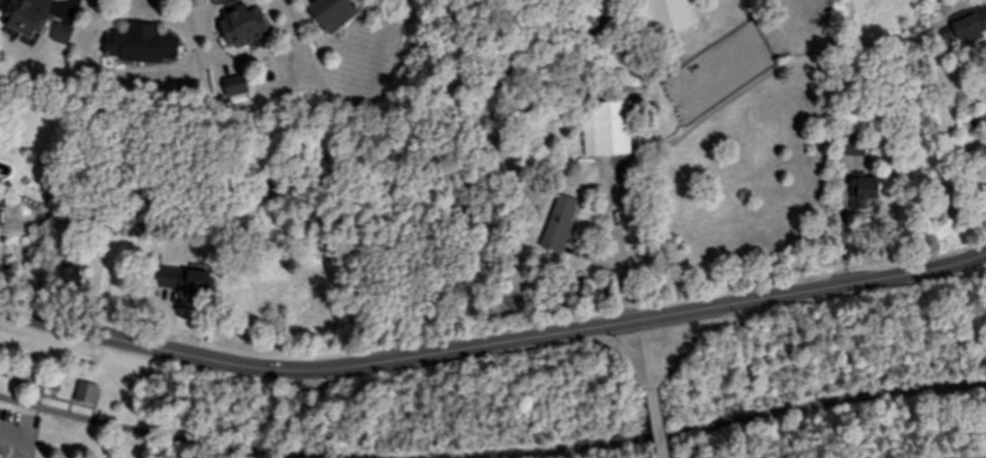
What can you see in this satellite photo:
building: (333, 14)
building: (667, 16)
building: (29, 17)
building: (966, 25)
building: (243, 26)
building: (62, 34)
building: (143, 45)
building: (236, 86)
building: (607, 129)
building: (864, 192)
building: (560, 225)
road: (973, 263)
road: (973, 271)
building: (70, 276)
building: (185, 282)
road: (478, 350)
road: (651, 358)
building: (85, 393)
road: (751, 418)
road: (663, 425)
parking lot: (17, 430)
road: (13, 432)
road: (143, 434)
road: (24, 446)

